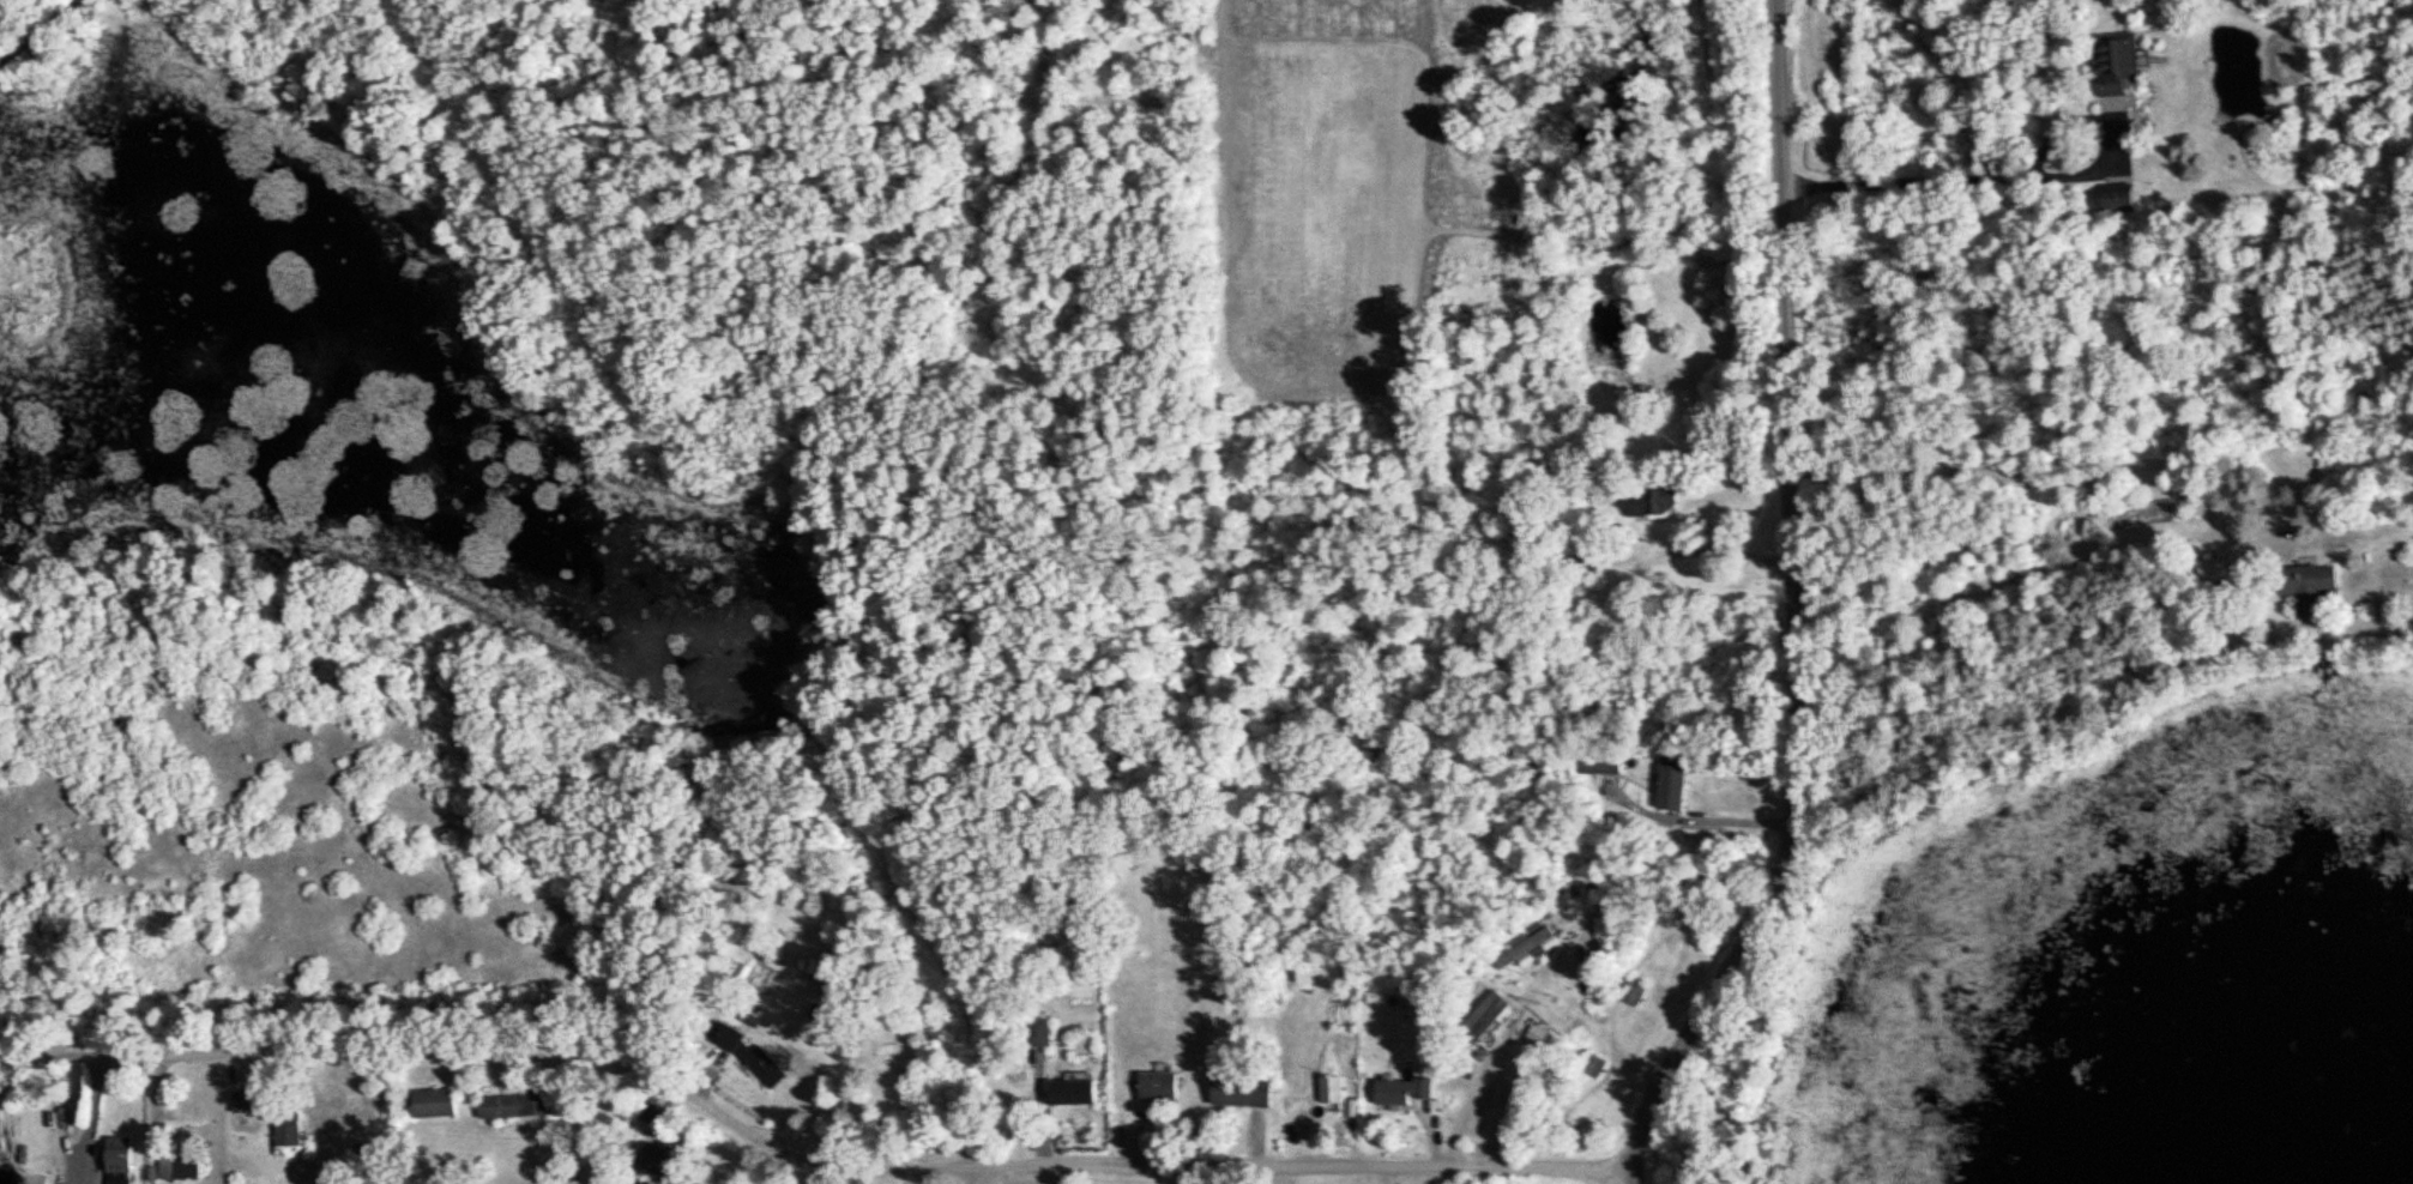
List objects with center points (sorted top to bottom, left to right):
road: (48, 23)
road: (12, 56)
building: (2113, 61)
road: (2017, 179)
building: (2117, 194)
road: (1776, 232)
road: (2049, 477)
building: (1646, 501)
building: (2210, 569)
building: (2308, 585)
building: (1598, 763)
building: (1671, 781)
road: (1779, 844)
building: (1527, 946)
road: (1554, 952)
building: (1317, 973)
building: (826, 977)
building: (1634, 989)
building: (1485, 1011)
building: (1038, 1031)
building: (1536, 1032)
building: (750, 1056)
building: (1592, 1063)
building: (1157, 1085)
building: (1229, 1087)
building: (1331, 1087)
building: (1072, 1088)
building: (1401, 1089)
building: (242, 1100)
building: (433, 1101)
building: (514, 1101)
building: (286, 1129)
building: (119, 1159)
building: (660, 1161)
road: (843, 1165)
building: (179, 1166)
road: (969, 1173)

